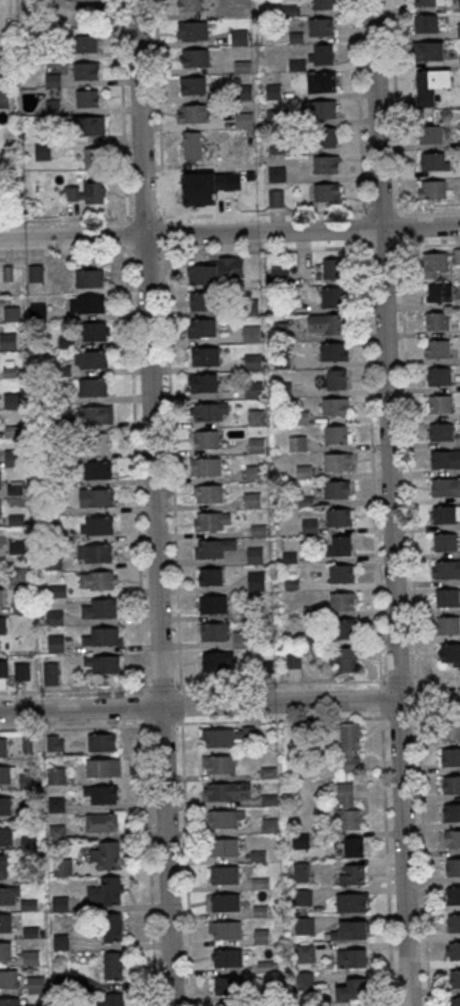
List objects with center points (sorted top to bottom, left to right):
building: (86, 0)
building: (427, 2)
building: (323, 4)
building: (189, 5)
building: (426, 23)
building: (321, 26)
building: (192, 30)
building: (86, 42)
building: (427, 50)
building: (323, 53)
building: (194, 58)
building: (3, 69)
building: (86, 70)
building: (327, 81)
building: (193, 85)
building: (431, 85)
building: (4, 98)
building: (87, 98)
building: (325, 109)
building: (193, 113)
building: (274, 117)
building: (243, 119)
building: (89, 125)
building: (431, 134)
building: (328, 136)
building: (191, 145)
building: (42, 151)
building: (93, 157)
building: (435, 161)
building: (326, 164)
building: (276, 174)
building: (434, 189)
building: (86, 192)
building: (327, 192)
building: (193, 197)
building: (276, 198)
road: (230, 214)
road: (229, 233)
road: (411, 245)
road: (246, 250)
road: (64, 256)
building: (457, 256)
building: (436, 260)
building: (332, 268)
building: (216, 271)
building: (36, 274)
building: (280, 274)
building: (89, 278)
building: (441, 292)
building: (331, 296)
building: (201, 300)
building: (94, 304)
building: (281, 305)
building: (251, 306)
building: (38, 310)
building: (438, 320)
building: (325, 323)
building: (204, 327)
building: (95, 331)
building: (252, 333)
building: (8, 340)
building: (438, 348)
building: (333, 351)
building: (207, 356)
building: (91, 359)
building: (253, 360)
building: (282, 360)
building: (440, 376)
building: (337, 379)
building: (206, 382)
building: (92, 387)
building: (254, 389)
building: (283, 389)
building: (12, 400)
building: (441, 403)
building: (335, 405)
building: (207, 412)
building: (97, 414)
building: (256, 417)
building: (300, 417)
building: (63, 424)
building: (441, 431)
building: (336, 434)
building: (206, 439)
building: (96, 442)
building: (298, 444)
building: (257, 445)
building: (445, 459)
building: (14, 460)
building: (337, 461)
building: (208, 466)
building: (99, 470)
building: (304, 472)
building: (253, 474)
building: (0, 480)
building: (446, 486)
building: (15, 489)
building: (336, 489)
building: (210, 493)
building: (97, 497)
building: (252, 500)
building: (306, 501)
road: (138, 502)
road: (155, 502)
road: (173, 502)
road: (389, 502)
road: (410, 502)
road: (372, 503)
building: (0, 508)
building: (444, 513)
building: (339, 516)
building: (209, 521)
building: (15, 525)
building: (97, 525)
building: (310, 526)
building: (258, 529)
building: (54, 534)
building: (445, 541)
building: (339, 545)
building: (17, 546)
building: (211, 548)
building: (94, 553)
building: (255, 555)
building: (290, 557)
building: (447, 568)
building: (342, 573)
building: (16, 576)
building: (211, 576)
building: (98, 579)
building: (256, 581)
building: (292, 584)
building: (2, 597)
building: (448, 597)
building: (342, 601)
building: (214, 604)
building: (100, 608)
building: (55, 618)
building: (2, 624)
building: (448, 624)
building: (345, 627)
building: (214, 631)
building: (103, 636)
building: (240, 639)
building: (56, 644)
building: (450, 652)
building: (344, 658)
building: (217, 660)
building: (294, 660)
building: (103, 663)
building: (23, 671)
building: (4, 673)
building: (51, 673)
road: (438, 678)
road: (230, 705)
building: (450, 730)
building: (220, 737)
building: (55, 742)
building: (102, 742)
building: (3, 747)
building: (350, 747)
building: (451, 757)
building: (221, 764)
building: (103, 767)
building: (7, 774)
building: (57, 775)
building: (28, 780)
building: (451, 784)
building: (229, 790)
building: (104, 794)
building: (56, 804)
building: (5, 805)
building: (348, 808)
building: (452, 812)
building: (223, 819)
building: (101, 823)
building: (6, 836)
building: (301, 839)
building: (454, 839)
building: (354, 846)
building: (224, 847)
building: (105, 854)
building: (258, 856)
building: (5, 866)
building: (453, 866)
building: (62, 867)
building: (301, 872)
building: (225, 874)
building: (352, 874)
building: (260, 882)
building: (106, 891)
building: (9, 895)
building: (453, 895)
building: (303, 897)
building: (351, 901)
building: (226, 902)
building: (260, 911)
building: (6, 922)
building: (454, 923)
building: (304, 925)
building: (113, 927)
building: (226, 929)
building: (351, 930)
building: (261, 936)
building: (6, 951)
building: (454, 951)
building: (305, 952)
building: (228, 957)
building: (352, 957)
building: (114, 967)
building: (265, 967)
building: (9, 978)
building: (455, 978)
building: (304, 980)
building: (36, 984)
building: (228, 985)
building: (353, 990)
building: (112, 999)
building: (10, 1001)
building: (455, 1001)
building: (33, 1004)
building: (232, 1005)

